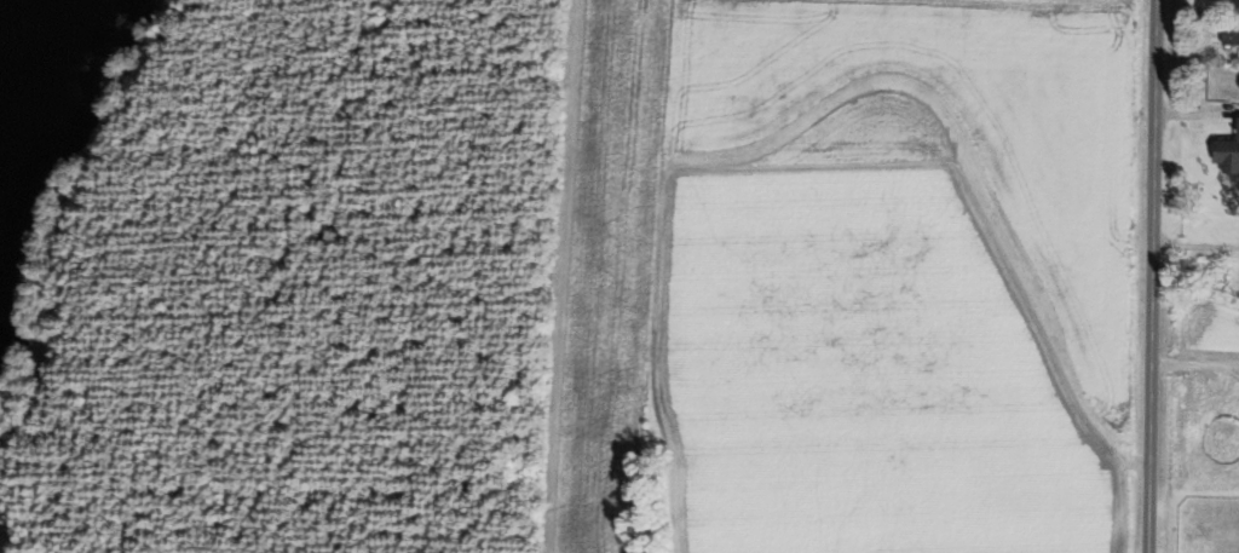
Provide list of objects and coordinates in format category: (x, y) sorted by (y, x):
crop: (1214, 1)
building: (1228, 33)
road: (1194, 114)
building: (1226, 150)
crop: (848, 275)
road: (1153, 276)
crop: (1212, 324)
road: (1195, 361)

